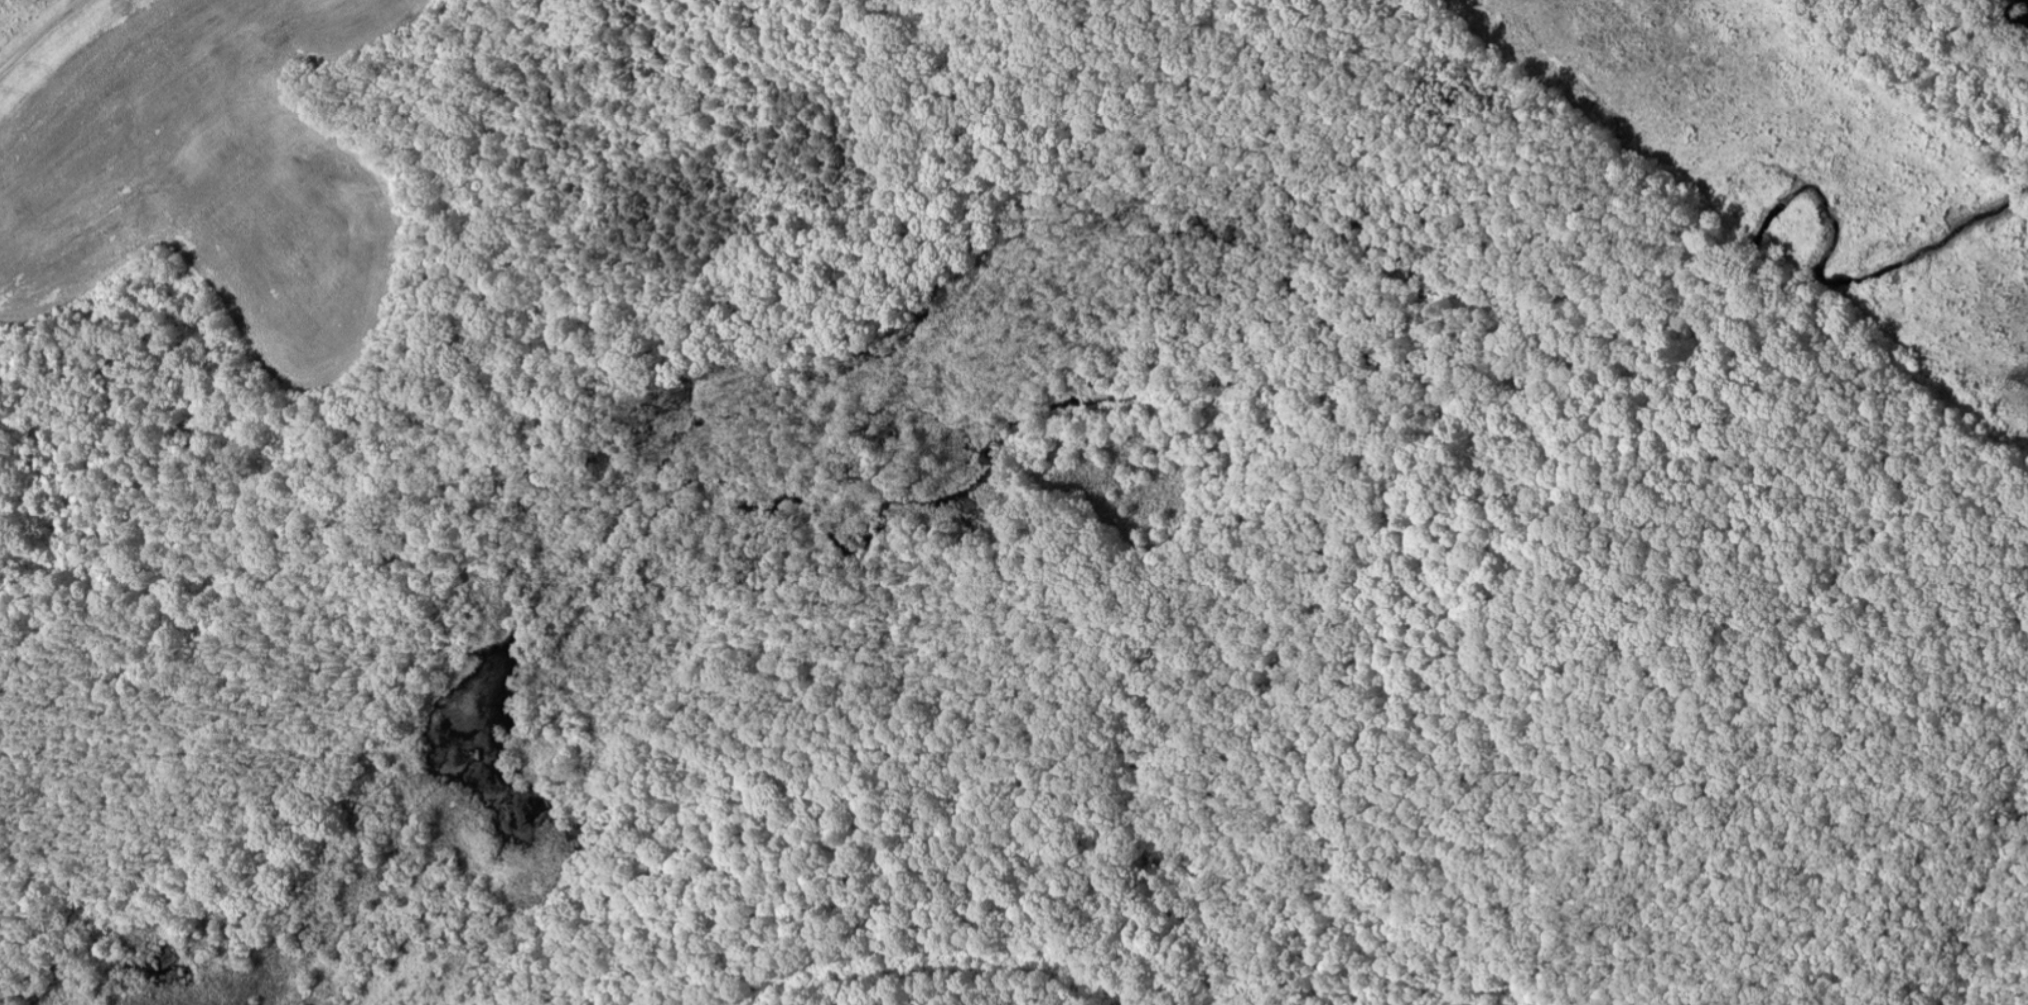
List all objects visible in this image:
power tower: (2026, 375)

